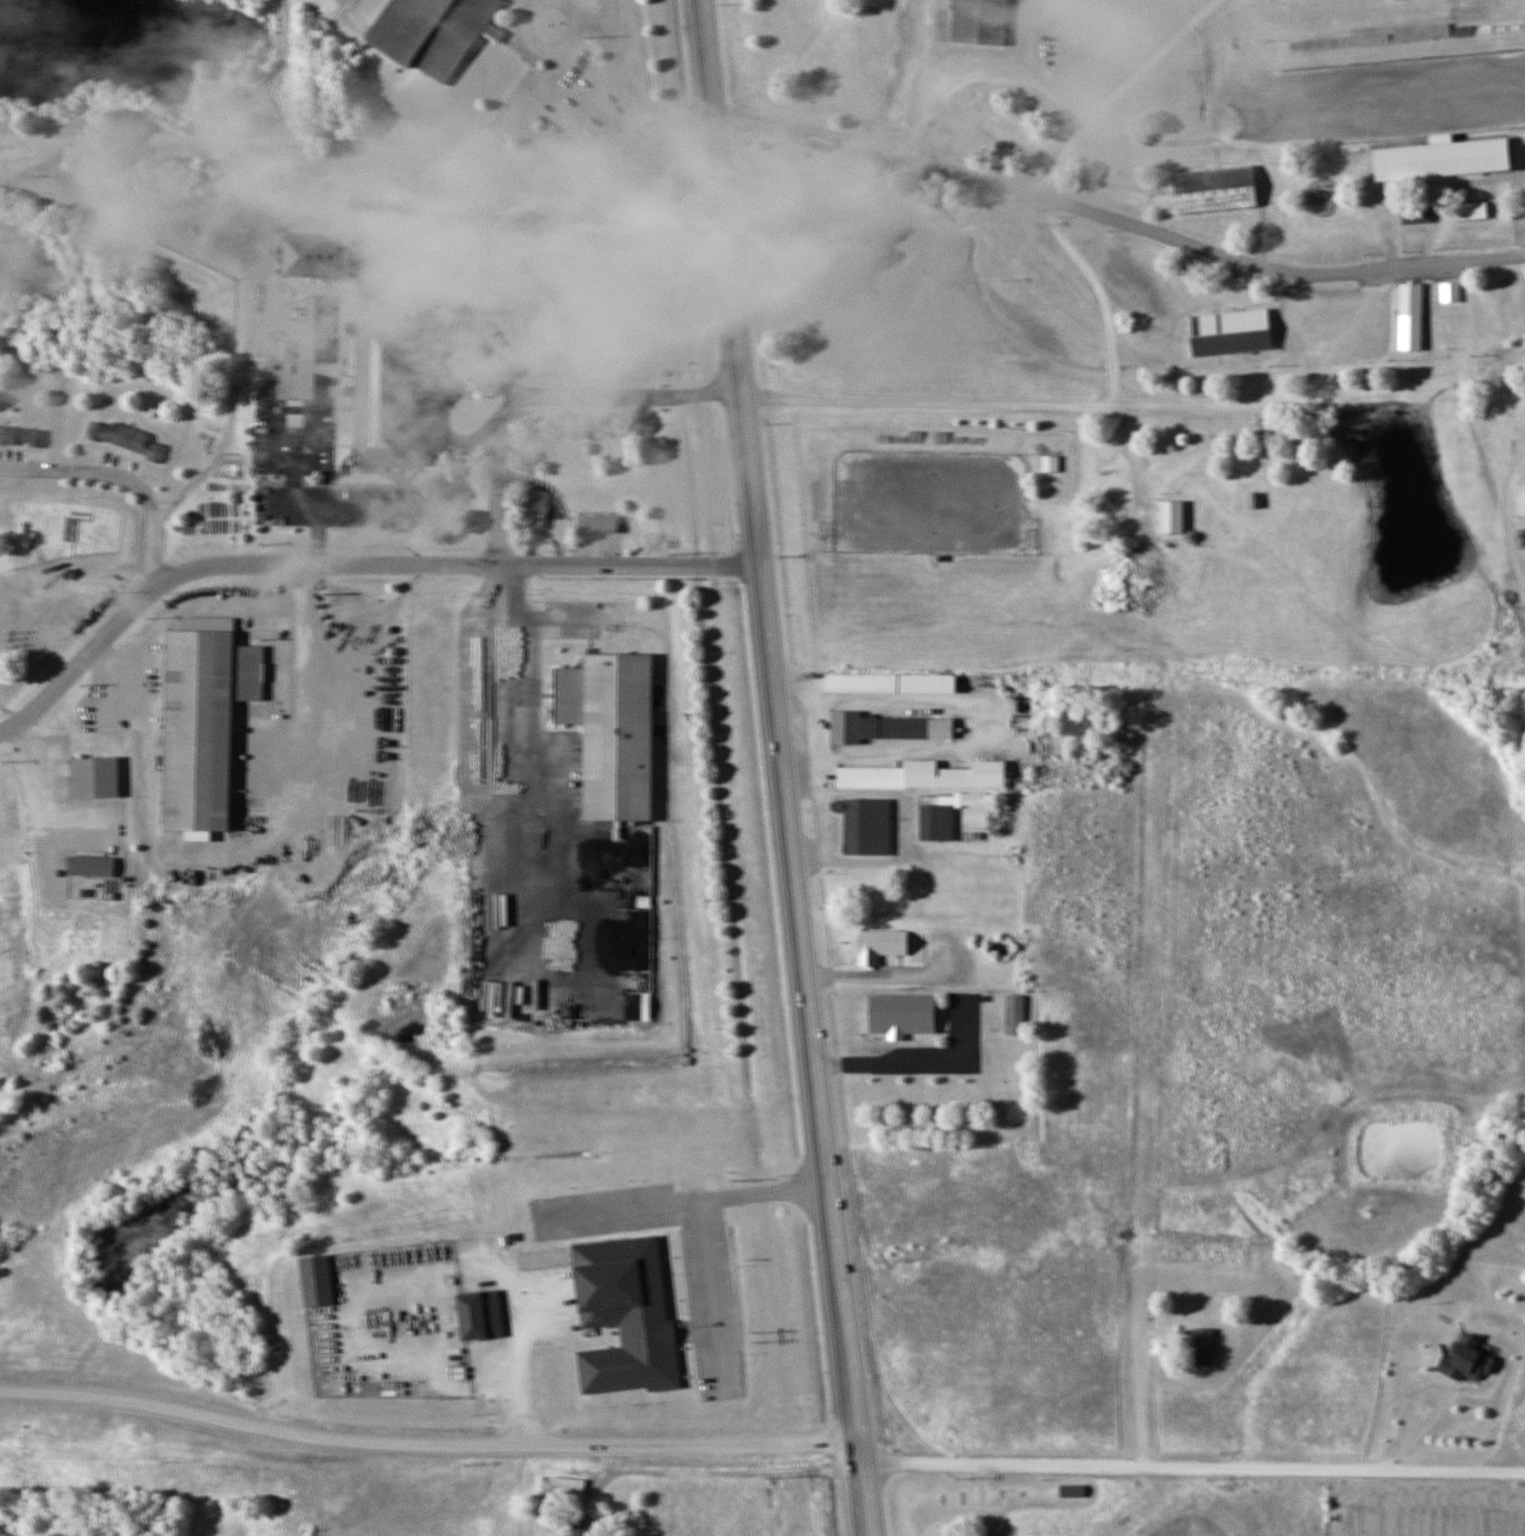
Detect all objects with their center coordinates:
building: (980, 15)
road: (583, 16)
building: (1475, 16)
building: (1422, 31)
building: (433, 32)
road: (542, 48)
road: (1116, 88)
road: (626, 93)
parking lot: (573, 118)
road: (326, 138)
building: (1443, 157)
building: (1214, 189)
building: (1476, 204)
road: (1116, 211)
building: (1416, 214)
building: (340, 222)
park: (131, 246)
building: (317, 255)
park: (582, 270)
park: (485, 273)
building: (1450, 291)
building: (1413, 307)
road: (735, 312)
building: (317, 328)
building: (1231, 332)
building: (387, 391)
road: (435, 395)
road: (561, 395)
road: (309, 402)
road: (1087, 405)
building: (21, 429)
building: (130, 431)
building: (915, 436)
building: (941, 437)
building: (1050, 463)
road: (121, 474)
building: (1114, 488)
building: (1523, 489)
building: (1255, 501)
road: (417, 506)
building: (538, 508)
building: (1172, 516)
building: (596, 523)
road: (316, 534)
road: (282, 563)
road: (695, 564)
building: (895, 680)
building: (570, 694)
building: (205, 717)
building: (881, 724)
building: (618, 737)
building: (957, 768)
building: (96, 769)
building: (873, 770)
building: (250, 806)
building: (937, 815)
building: (864, 824)
building: (97, 858)
building: (878, 937)
road: (812, 989)
building: (904, 1006)
building: (1017, 1006)
road: (686, 1203)
parking lot: (604, 1212)
building: (324, 1273)
road: (712, 1298)
building: (483, 1307)
parking lot: (714, 1313)
road: (689, 1316)
building: (626, 1318)
road: (684, 1336)
building: (1202, 1344)
building: (1466, 1357)
road: (1416, 1431)
road: (430, 1441)
road: (865, 1444)
road: (1196, 1464)
building: (569, 1484)
building: (1072, 1491)
building: (582, 1527)

